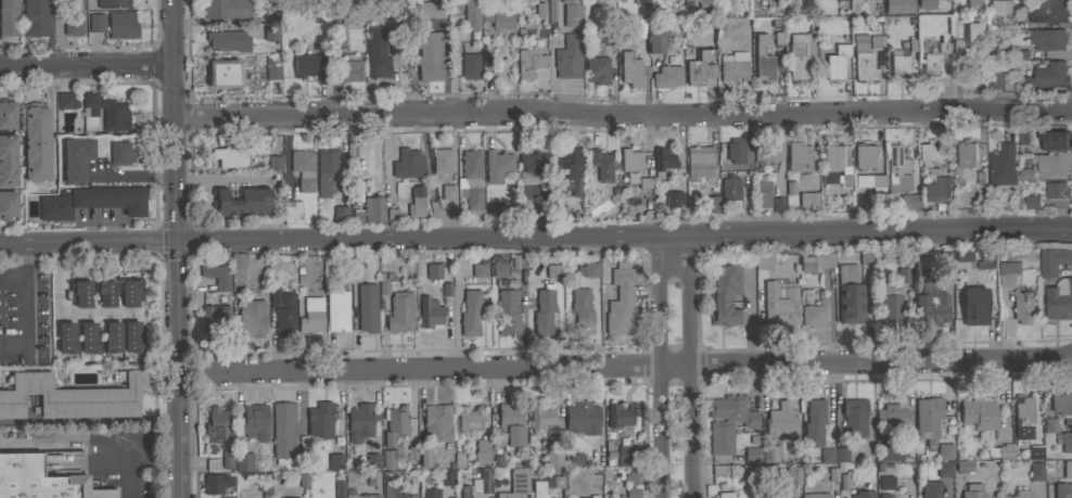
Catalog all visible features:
building: (73, 0)
building: (685, 0)
building: (838, 0)
building: (640, 1)
building: (706, 2)
building: (113, 3)
building: (926, 3)
building: (973, 5)
building: (898, 7)
building: (452, 8)
building: (226, 9)
building: (431, 9)
building: (536, 10)
building: (551, 10)
building: (998, 11)
building: (1048, 11)
building: (572, 12)
building: (472, 13)
building: (497, 13)
building: (350, 14)
building: (9, 17)
building: (35, 17)
building: (97, 22)
building: (73, 23)
building: (122, 25)
building: (270, 33)
building: (608, 37)
building: (969, 38)
building: (1048, 39)
building: (228, 41)
building: (355, 41)
building: (876, 41)
building: (654, 43)
building: (379, 51)
building: (800, 54)
building: (837, 55)
building: (430, 56)
building: (569, 58)
building: (863, 59)
building: (528, 62)
building: (933, 63)
road: (86, 64)
building: (897, 64)
building: (733, 65)
building: (310, 66)
building: (470, 66)
building: (700, 67)
building: (764, 67)
building: (352, 68)
building: (597, 69)
building: (630, 69)
building: (272, 73)
building: (224, 74)
building: (666, 76)
building: (1049, 76)
building: (996, 80)
building: (66, 100)
building: (104, 113)
building: (7, 114)
road: (622, 123)
road: (52, 125)
building: (1020, 139)
building: (1052, 140)
building: (36, 142)
building: (736, 151)
building: (766, 151)
building: (120, 153)
building: (931, 153)
building: (967, 154)
building: (864, 155)
building: (231, 156)
road: (387, 156)
building: (799, 156)
building: (699, 157)
building: (76, 158)
building: (8, 159)
building: (630, 159)
building: (442, 161)
building: (663, 161)
building: (275, 163)
building: (831, 163)
building: (407, 164)
building: (601, 164)
building: (1052, 164)
building: (497, 165)
building: (534, 165)
building: (1003, 165)
building: (303, 169)
building: (897, 169)
building: (569, 170)
building: (328, 171)
building: (1022, 176)
road: (221, 178)
building: (873, 180)
building: (472, 181)
building: (730, 188)
building: (937, 190)
building: (1056, 190)
building: (448, 192)
building: (763, 192)
building: (674, 199)
building: (808, 199)
building: (90, 202)
building: (241, 202)
building: (908, 202)
building: (1032, 202)
building: (711, 203)
building: (8, 204)
building: (416, 204)
building: (778, 204)
building: (370, 210)
building: (292, 212)
building: (340, 215)
building: (393, 215)
road: (536, 237)
road: (176, 248)
building: (866, 257)
building: (238, 260)
building: (827, 260)
building: (987, 260)
building: (763, 261)
building: (1052, 261)
building: (807, 264)
building: (478, 269)
building: (499, 269)
building: (590, 269)
building: (433, 271)
building: (552, 271)
building: (1008, 273)
building: (358, 274)
building: (902, 274)
road: (14, 276)
building: (216, 276)
building: (385, 281)
building: (441, 290)
building: (104, 292)
building: (131, 292)
building: (80, 293)
building: (724, 294)
building: (850, 294)
building: (273, 296)
building: (620, 298)
building: (1059, 299)
building: (930, 303)
building: (890, 305)
building: (974, 306)
building: (1022, 306)
building: (780, 309)
road: (28, 310)
building: (337, 310)
building: (543, 310)
building: (582, 310)
building: (400, 311)
road: (64, 312)
building: (470, 312)
building: (508, 312)
building: (430, 314)
building: (813, 314)
building: (311, 315)
building: (367, 315)
parking lot: (24, 316)
building: (285, 316)
building: (215, 318)
building: (252, 318)
building: (67, 337)
building: (88, 337)
building: (111, 337)
building: (132, 337)
road: (661, 363)
road: (690, 363)
road: (642, 368)
building: (72, 396)
building: (1061, 404)
building: (1022, 412)
building: (618, 414)
building: (977, 414)
building: (854, 416)
building: (582, 417)
building: (891, 417)
building: (469, 418)
building: (541, 418)
building: (928, 418)
building: (320, 420)
building: (254, 421)
building: (359, 421)
building: (728, 421)
building: (781, 421)
building: (1048, 421)
building: (438, 422)
building: (511, 422)
building: (814, 422)
building: (395, 423)
building: (216, 424)
building: (282, 430)
building: (1064, 440)
building: (945, 450)
building: (482, 451)
building: (889, 451)
building: (1000, 451)
building: (751, 454)
building: (769, 454)
building: (841, 454)
building: (1031, 454)
building: (826, 455)
building: (623, 456)
building: (424, 457)
building: (554, 457)
building: (226, 459)
building: (372, 459)
building: (388, 459)
building: (574, 459)
building: (243, 461)
building: (335, 461)
building: (208, 465)
building: (963, 465)
building: (944, 469)
building: (1067, 469)
road: (129, 471)
building: (1035, 471)
building: (748, 472)
building: (633, 475)
building: (793, 475)
building: (446, 476)
building: (36, 478)
building: (483, 481)
building: (519, 482)
building: (884, 482)
building: (214, 483)
building: (629, 487)
building: (339, 488)
building: (266, 489)
building: (539, 489)
building: (930, 489)
building: (1062, 489)
building: (462, 490)
building: (972, 490)
building: (394, 491)
building: (431, 493)
building: (776, 493)
building: (862, 494)
building: (1020, 494)
building: (499, 495)
building: (725, 495)
building: (818, 495)
building: (362, 496)
building: (592, 496)
building: (614, 496)
building: (883, 496)

